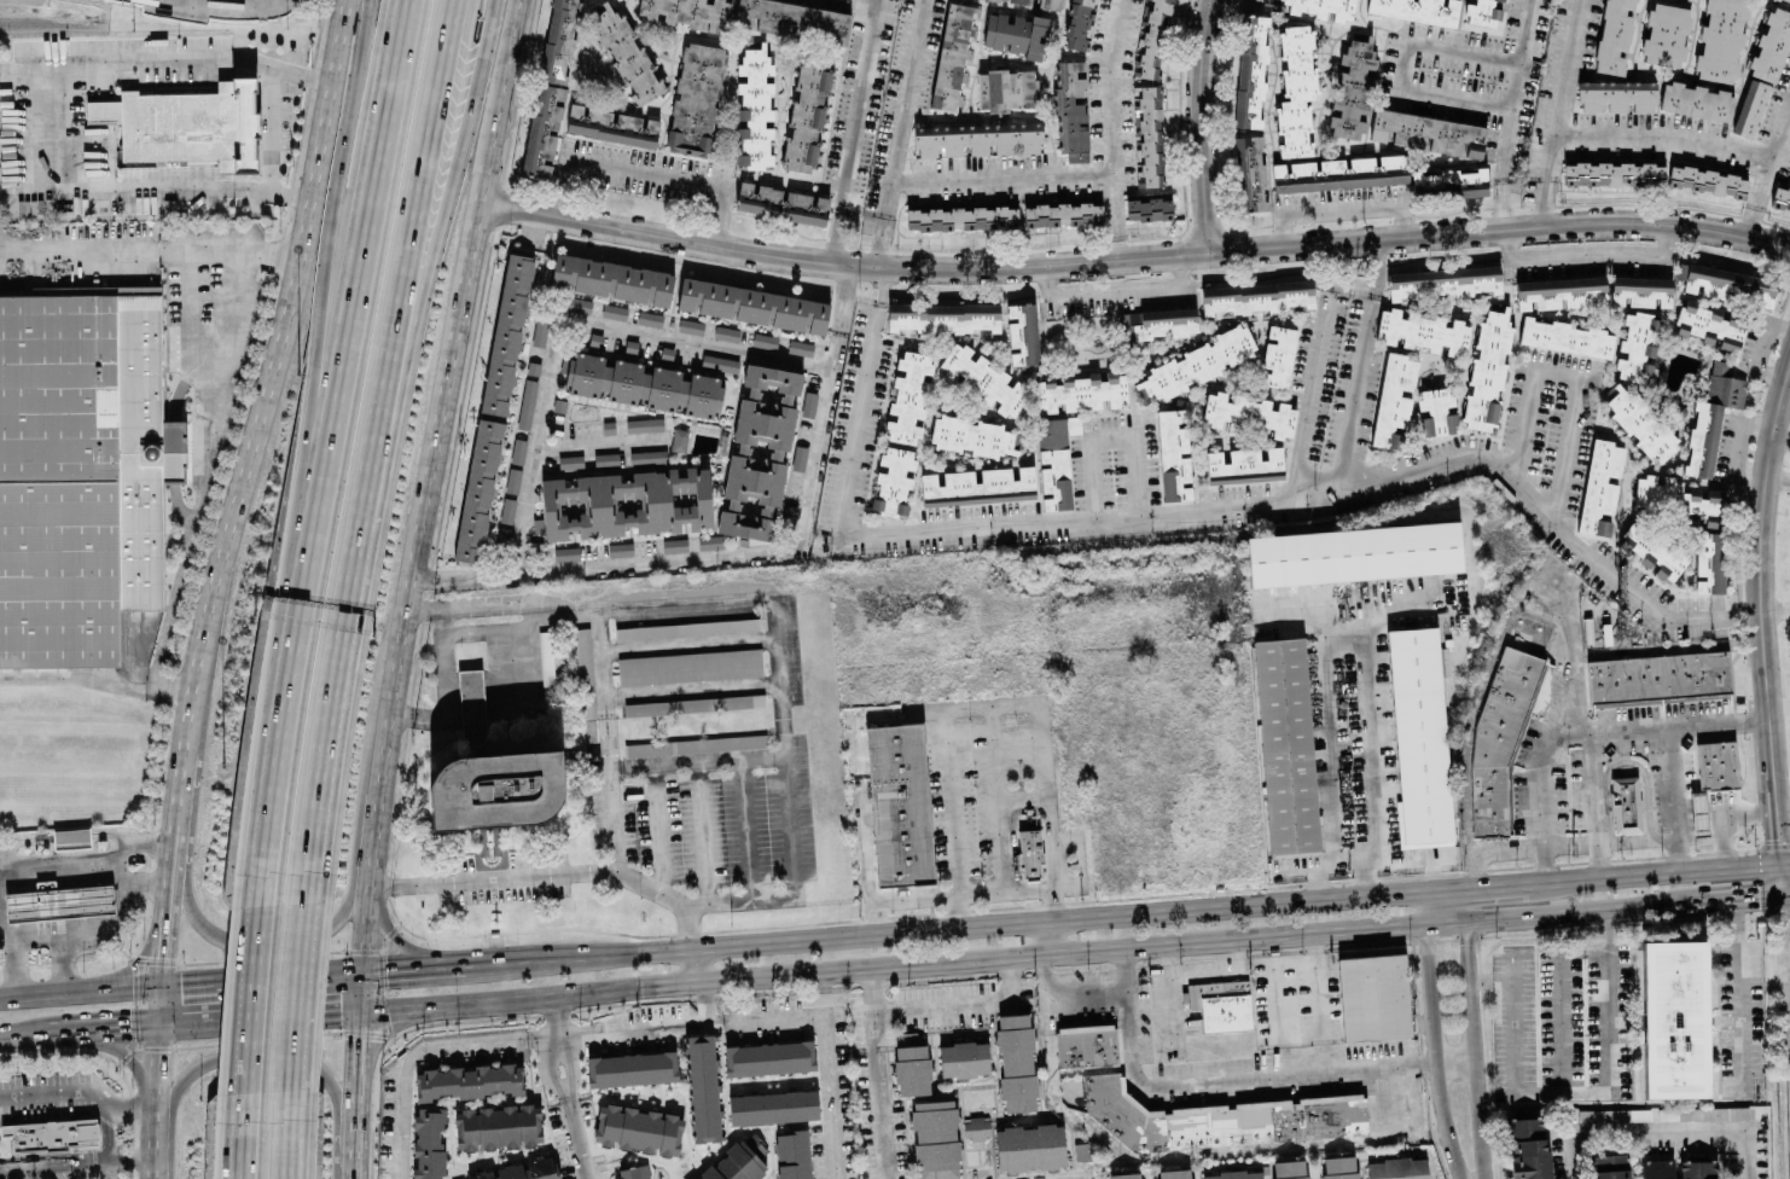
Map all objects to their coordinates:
building: (1786, 0)
road: (229, 1)
building: (1042, 1)
building: (1315, 7)
building: (1416, 10)
building: (687, 12)
building: (1481, 12)
building: (792, 19)
building: (1077, 24)
building: (1016, 34)
building: (1664, 34)
building: (1614, 35)
building: (1152, 39)
building: (1721, 40)
building: (1772, 45)
building: (627, 57)
building: (952, 57)
road: (1402, 64)
road: (1565, 68)
building: (1250, 70)
building: (1353, 86)
building: (1006, 89)
building: (1616, 95)
building: (547, 98)
building: (696, 98)
building: (1696, 100)
building: (754, 105)
building: (1071, 108)
building: (1749, 108)
road: (1509, 112)
building: (807, 115)
road: (25, 116)
building: (187, 124)
road: (1202, 124)
building: (612, 126)
road: (1115, 128)
road: (852, 129)
road: (68, 132)
road: (899, 132)
building: (1428, 132)
road: (1780, 137)
road: (1663, 138)
building: (977, 143)
road: (1550, 158)
road: (645, 170)
building: (1249, 173)
building: (1338, 173)
building: (1612, 173)
road: (1766, 176)
road: (1001, 180)
building: (1707, 180)
road: (349, 181)
building: (1448, 181)
road: (371, 182)
building: (1780, 198)
building: (781, 203)
road: (1542, 203)
building: (1147, 207)
road: (1341, 208)
building: (1062, 214)
road: (1753, 214)
road: (415, 217)
road: (432, 217)
building: (961, 217)
road: (667, 233)
road: (1321, 243)
road: (1586, 249)
road: (151, 251)
road: (1326, 266)
road: (1376, 266)
building: (611, 279)
building: (1443, 281)
road: (1349, 283)
road: (883, 284)
building: (1727, 284)
building: (1640, 291)
road: (1114, 292)
building: (1559, 292)
building: (1256, 296)
building: (752, 306)
road: (565, 315)
building: (943, 316)
building: (649, 318)
building: (1164, 323)
building: (1709, 325)
building: (691, 326)
building: (1422, 331)
building: (726, 332)
building: (1022, 333)
building: (506, 336)
building: (1565, 337)
building: (1637, 345)
building: (629, 347)
road: (1761, 349)
building: (1277, 356)
building: (534, 368)
building: (1486, 371)
road: (273, 374)
building: (983, 378)
building: (641, 382)
building: (1725, 385)
building: (1082, 389)
road: (1362, 390)
road: (1308, 396)
building: (1394, 399)
building: (528, 401)
building: (1437, 408)
building: (1248, 413)
building: (1639, 422)
building: (644, 424)
road: (1783, 432)
building: (967, 435)
building: (679, 439)
building: (1702, 439)
road: (1111, 440)
road: (598, 441)
road: (1734, 447)
building: (518, 449)
building: (760, 452)
road: (1518, 453)
building: (1173, 454)
building: (647, 455)
building: (605, 459)
building: (571, 461)
building: (1244, 464)
road: (203, 471)
building: (80, 472)
building: (1011, 475)
road: (1779, 475)
building: (512, 480)
building: (1600, 486)
building: (478, 490)
building: (1673, 495)
building: (628, 503)
building: (507, 510)
road: (1067, 519)
building: (674, 544)
building: (620, 548)
building: (1655, 548)
building: (563, 553)
road: (750, 554)
building: (1354, 554)
building: (1709, 562)
road: (411, 586)
road: (681, 594)
road: (1776, 611)
road: (1737, 614)
road: (1762, 616)
building: (682, 627)
road: (290, 634)
road: (685, 644)
road: (1574, 660)
building: (546, 662)
building: (690, 666)
road: (336, 668)
building: (583, 672)
road: (71, 675)
building: (1658, 676)
road: (167, 685)
road: (688, 689)
building: (470, 698)
building: (693, 704)
road: (990, 704)
road: (1662, 724)
road: (603, 734)
building: (1418, 736)
road: (784, 738)
building: (1498, 739)
building: (695, 744)
building: (1286, 745)
road: (1327, 751)
road: (696, 763)
road: (1373, 763)
road: (1621, 763)
building: (1718, 765)
road: (176, 791)
building: (487, 792)
road: (1675, 797)
road: (1594, 803)
building: (899, 805)
road: (1542, 805)
building: (1626, 805)
building: (1698, 811)
road: (652, 829)
road: (744, 829)
road: (702, 832)
building: (70, 837)
road: (121, 837)
road: (1599, 843)
road: (1725, 852)
building: (1029, 853)
road: (1785, 863)
traffic signals: (1780, 864)
road: (1753, 866)
road: (1, 870)
road: (1477, 870)
road: (1628, 876)
road: (489, 877)
road: (1782, 881)
road: (1496, 884)
road: (1364, 885)
road: (647, 887)
road: (966, 893)
road: (1786, 896)
road: (738, 898)
traffic signals: (1784, 898)
road: (1759, 899)
building: (58, 902)
road: (1718, 902)
road: (161, 910)
road: (955, 911)
road: (685, 925)
road: (97, 927)
road: (30, 933)
road: (878, 933)
road: (393, 937)
road: (1048, 937)
road: (243, 941)
road: (1786, 945)
road: (1468, 953)
road: (1238, 954)
road: (925, 962)
road: (135, 963)
road: (1294, 963)
road: (696, 964)
traffic signals: (358, 970)
road: (1205, 972)
road: (1492, 978)
road: (222, 980)
traffic signals: (152, 985)
road: (872, 987)
road: (1172, 988)
road: (75, 989)
road: (1085, 992)
road: (297, 995)
road: (1559, 998)
building: (1375, 999)
road: (1738, 999)
road: (246, 1000)
road: (705, 1001)
road: (1318, 1001)
road: (965, 1003)
road: (151, 1005)
building: (1222, 1005)
traffic signals: (356, 1012)
road: (551, 1015)
road: (765, 1017)
building: (1673, 1017)
road: (1277, 1022)
traffic signals: (151, 1026)
road: (630, 1027)
road: (75, 1029)
road: (1436, 1035)
road: (377, 1036)
building: (1086, 1045)
road: (419, 1052)
road: (124, 1055)
building: (768, 1057)
road: (260, 1058)
building: (963, 1058)
road: (1458, 1061)
building: (1016, 1062)
building: (911, 1063)
building: (632, 1068)
road: (150, 1076)
road: (1221, 1078)
building: (469, 1080)
road: (83, 1088)
building: (702, 1088)
road: (879, 1093)
road: (1580, 1093)
road: (829, 1096)
road: (1480, 1098)
road: (1399, 1100)
road: (571, 1107)
building: (773, 1107)
building: (1702, 1113)
building: (1612, 1114)
building: (1221, 1116)
building: (498, 1126)
building: (975, 1127)
road: (110, 1128)
building: (638, 1128)
road: (1657, 1128)
building: (51, 1134)
road: (286, 1134)
road: (237, 1137)
building: (935, 1139)
building: (428, 1143)
building: (1029, 1146)
building: (1527, 1148)
building: (1082, 1151)
road: (151, 1152)
building: (792, 1154)
road: (1167, 1155)
road: (130, 1156)
building: (737, 1160)
road: (56, 1162)
building: (1609, 1166)
building: (1338, 1167)
building: (1396, 1167)
building: (1288, 1168)
building: (1655, 1168)
building: (1699, 1169)
building: (516, 1171)
building: (633, 1173)
building: (1174, 1173)
building: (1233, 1174)
building: (1124, 1175)

